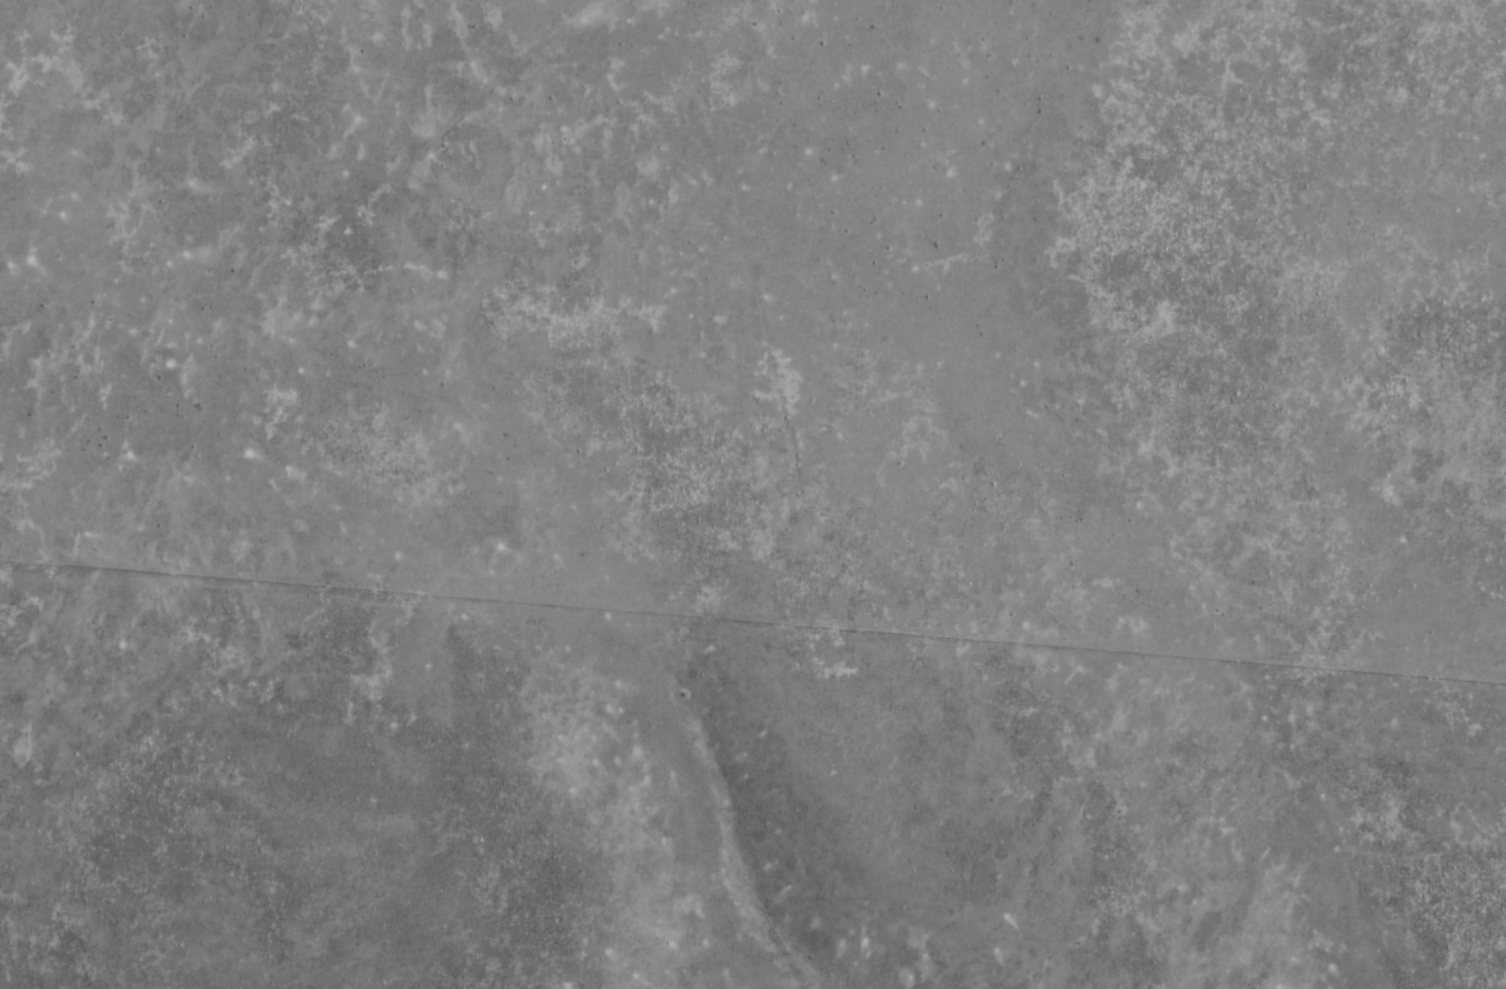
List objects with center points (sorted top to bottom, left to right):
road: (761, 198)

